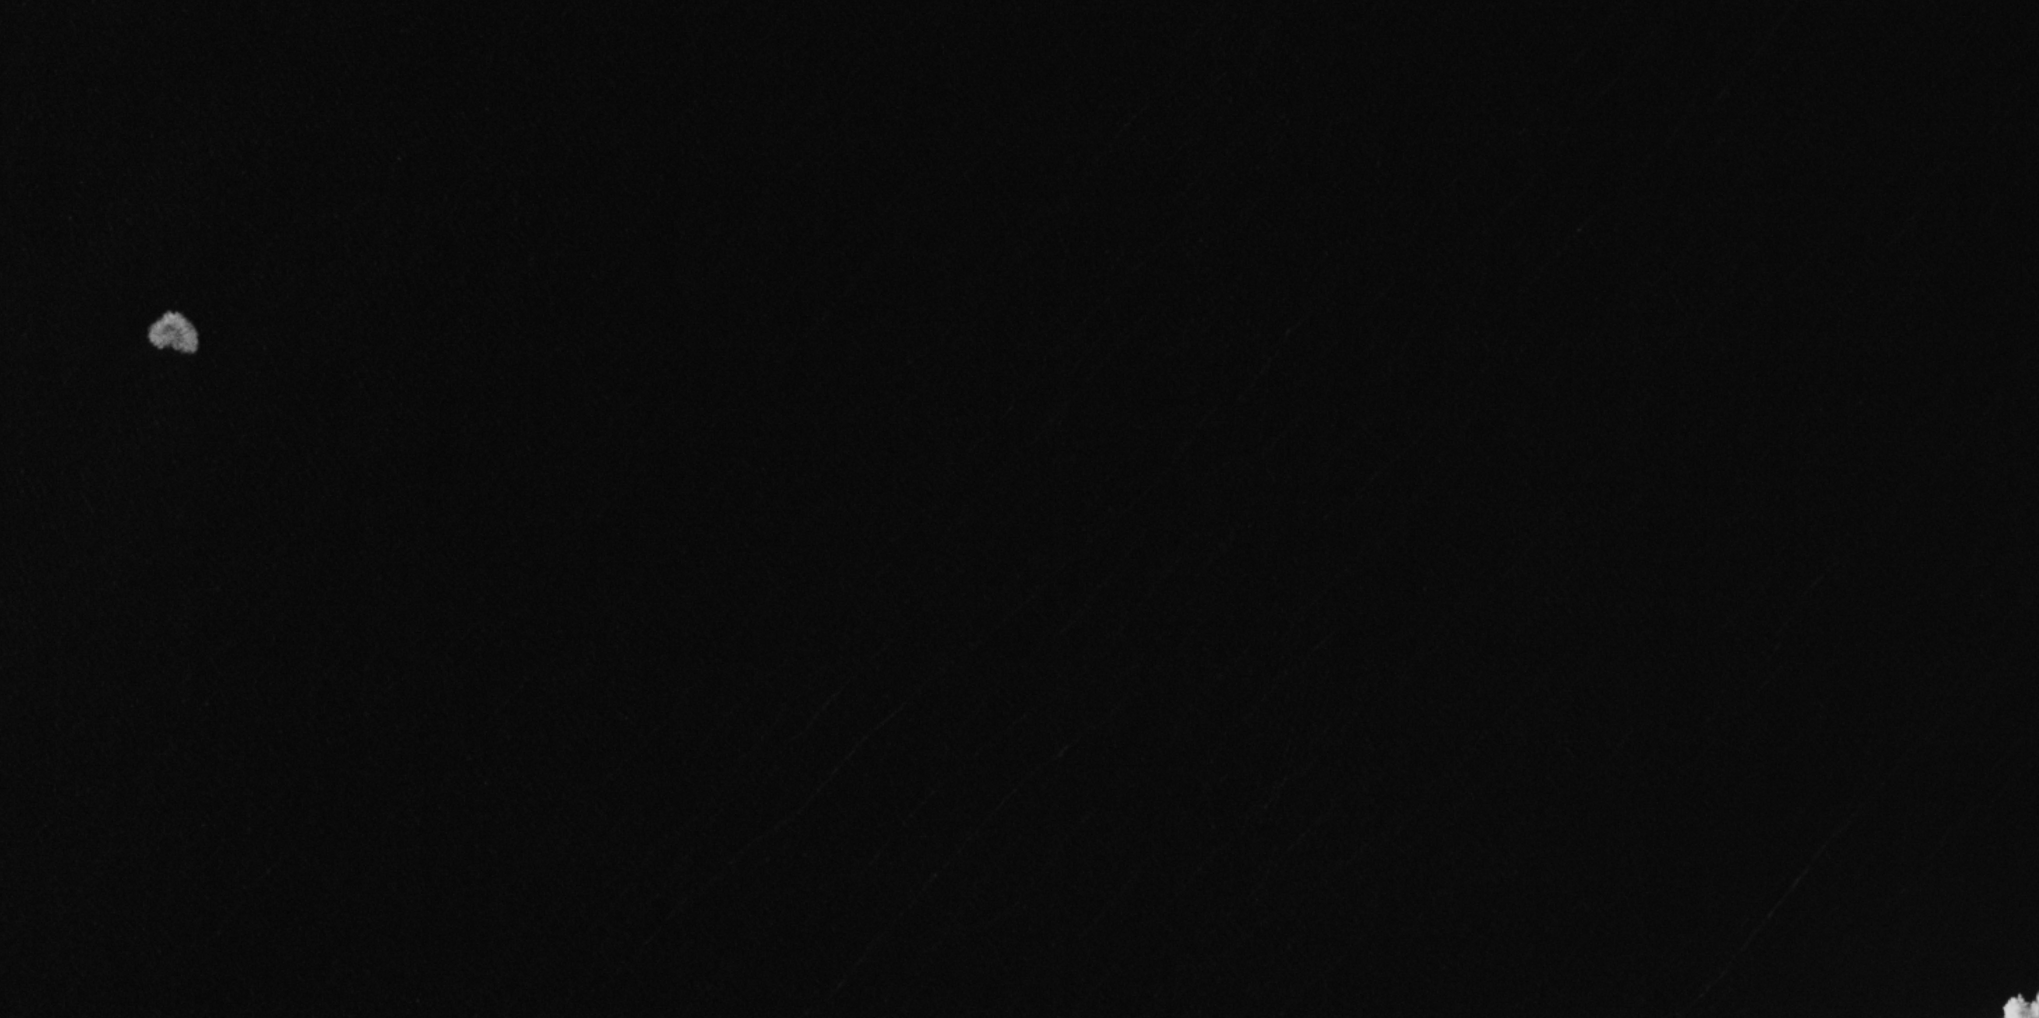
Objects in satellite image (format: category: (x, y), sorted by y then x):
river: (1007, 509)

